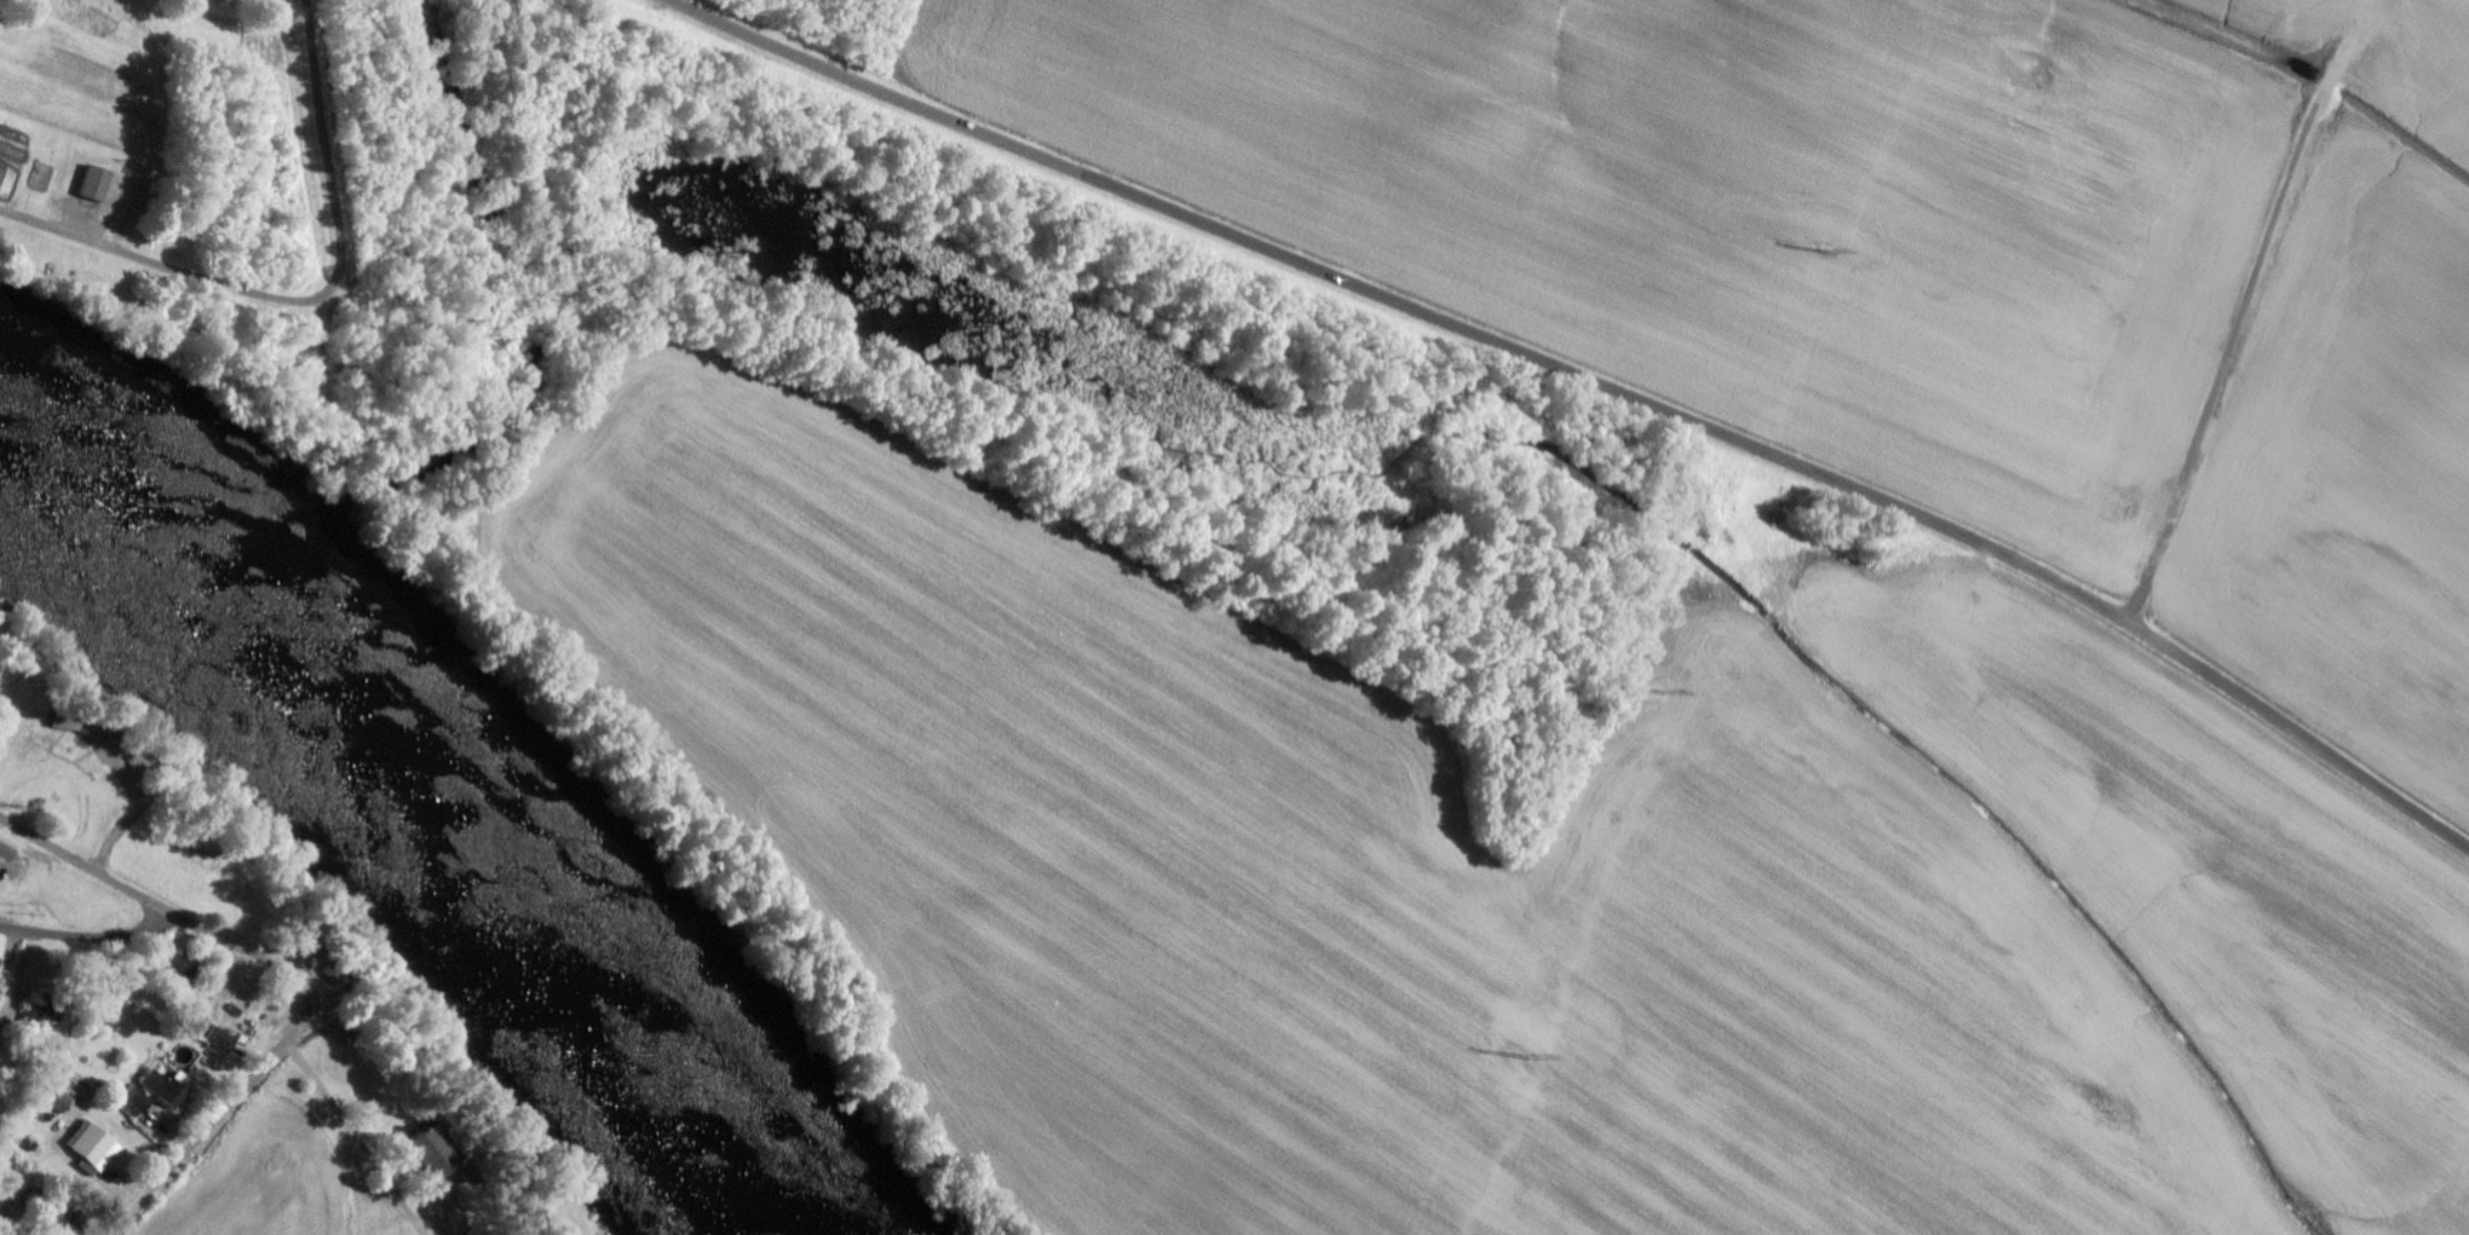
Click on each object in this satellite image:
building: (98, 183)
road: (304, 298)
road: (1589, 382)
building: (94, 734)
river: (411, 810)
building: (7, 852)
road: (87, 939)
building: (311, 942)
building: (1, 962)
road: (298, 977)
building: (225, 1039)
building: (64, 1102)
building: (138, 1102)
building: (97, 1144)
building: (436, 1148)
building: (63, 1219)

